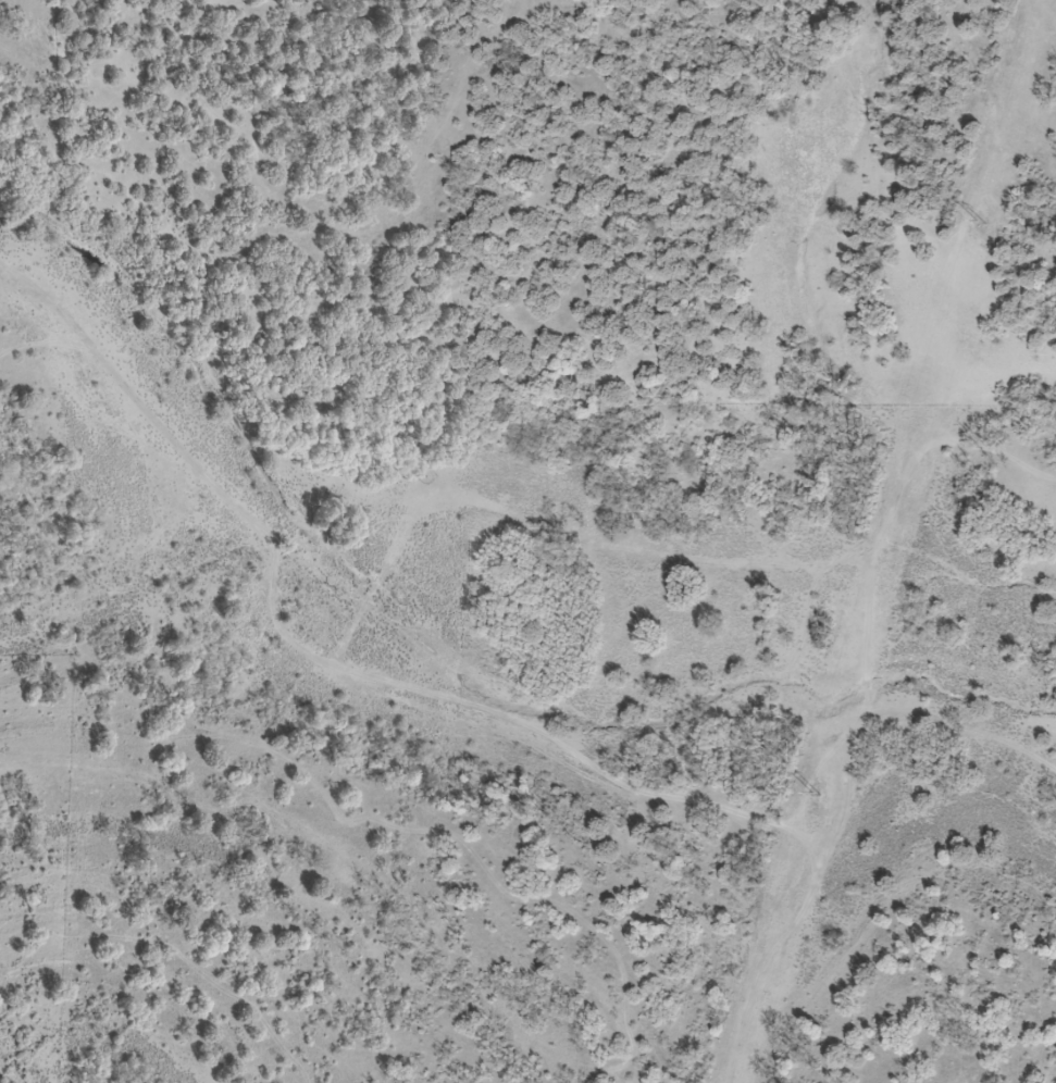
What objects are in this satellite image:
power tower: (980, 221)
power tower: (819, 787)

